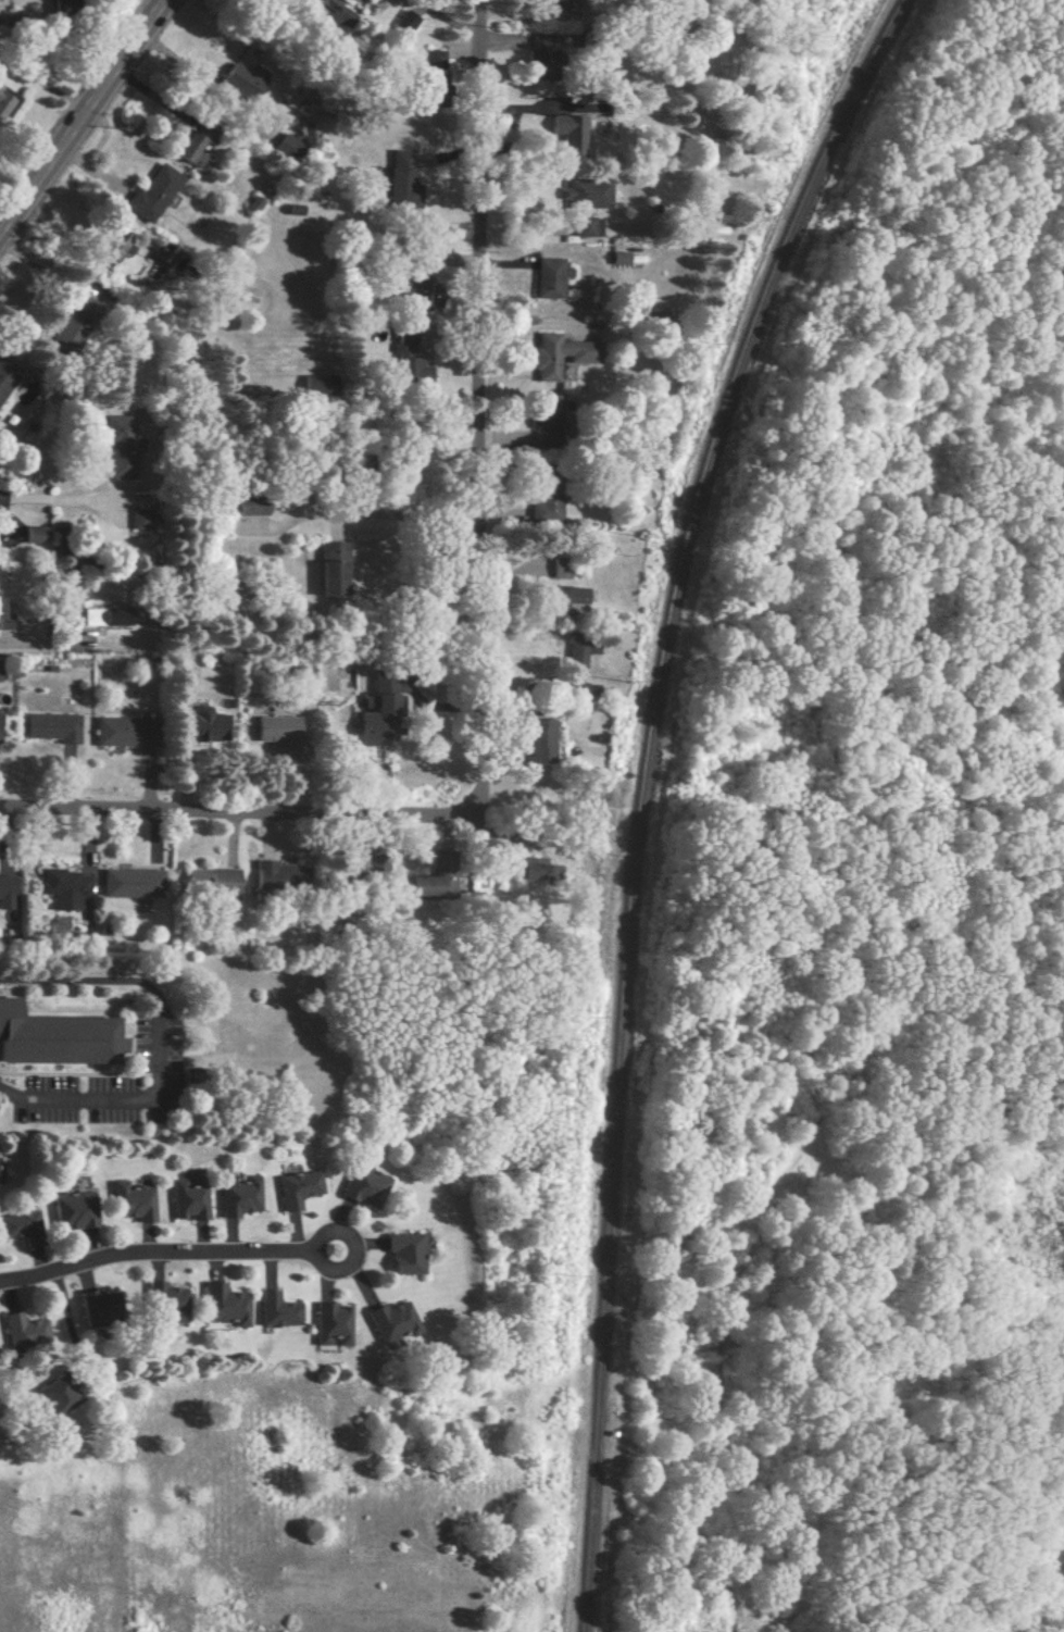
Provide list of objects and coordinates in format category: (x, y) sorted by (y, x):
road: (153, 5)
building: (63, 7)
building: (329, 13)
building: (404, 22)
building: (433, 62)
building: (239, 83)
building: (0, 86)
building: (3, 102)
road: (84, 117)
building: (568, 134)
building: (286, 146)
building: (189, 149)
building: (401, 178)
road: (15, 191)
building: (151, 194)
building: (585, 202)
building: (253, 203)
building: (114, 246)
road: (85, 253)
building: (619, 257)
building: (549, 278)
building: (73, 323)
building: (556, 354)
building: (5, 378)
building: (317, 385)
road: (477, 407)
building: (549, 411)
building: (120, 445)
road: (49, 498)
building: (251, 507)
building: (544, 511)
road: (361, 512)
building: (36, 534)
building: (330, 569)
building: (561, 570)
building: (70, 591)
building: (561, 600)
building: (105, 616)
building: (4, 619)
road: (37, 644)
building: (576, 653)
building: (378, 712)
building: (201, 725)
building: (51, 726)
building: (112, 731)
building: (279, 732)
building: (539, 740)
railway: (639, 793)
road: (237, 818)
building: (533, 871)
building: (278, 875)
building: (211, 881)
building: (132, 883)
building: (429, 886)
building: (64, 887)
building: (5, 892)
building: (55, 1038)
road: (160, 1046)
building: (296, 1188)
building: (237, 1197)
building: (185, 1200)
building: (130, 1201)
building: (72, 1210)
building: (18, 1224)
road: (166, 1251)
building: (403, 1254)
building: (165, 1300)
building: (223, 1304)
building: (97, 1305)
building: (276, 1310)
building: (390, 1321)
building: (329, 1324)
building: (23, 1330)
building: (55, 1396)

